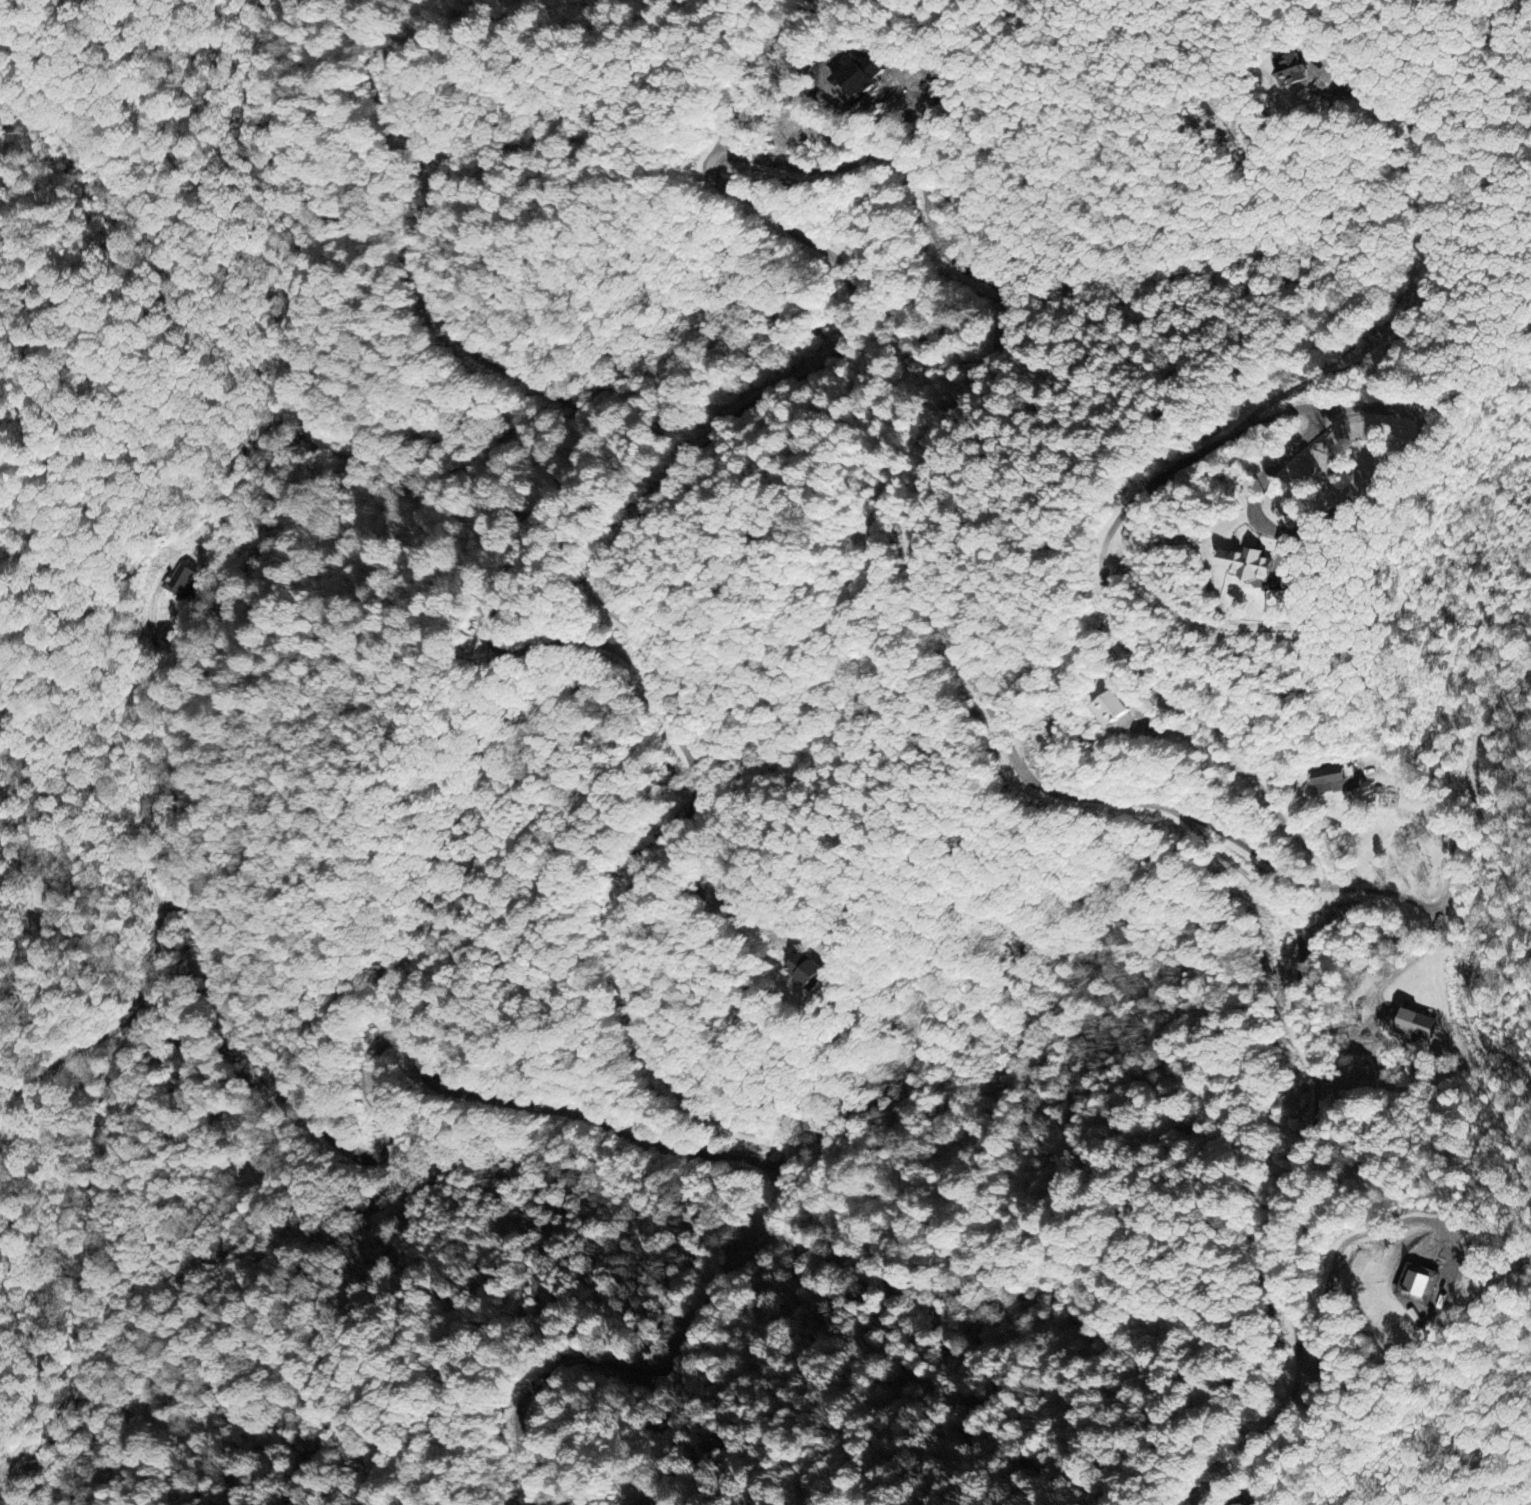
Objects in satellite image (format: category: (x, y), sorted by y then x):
road: (759, 65)
building: (1292, 70)
building: (862, 76)
road: (1426, 285)
road: (547, 380)
building: (1239, 562)
road: (922, 571)
building: (180, 581)
road: (631, 624)
road: (1134, 656)
building: (1112, 708)
building: (1334, 784)
building: (806, 969)
building: (1415, 1024)
road: (1314, 1075)
road: (342, 1143)
road: (11, 1163)
building: (1413, 1285)
road: (660, 1368)
road: (1255, 1438)

